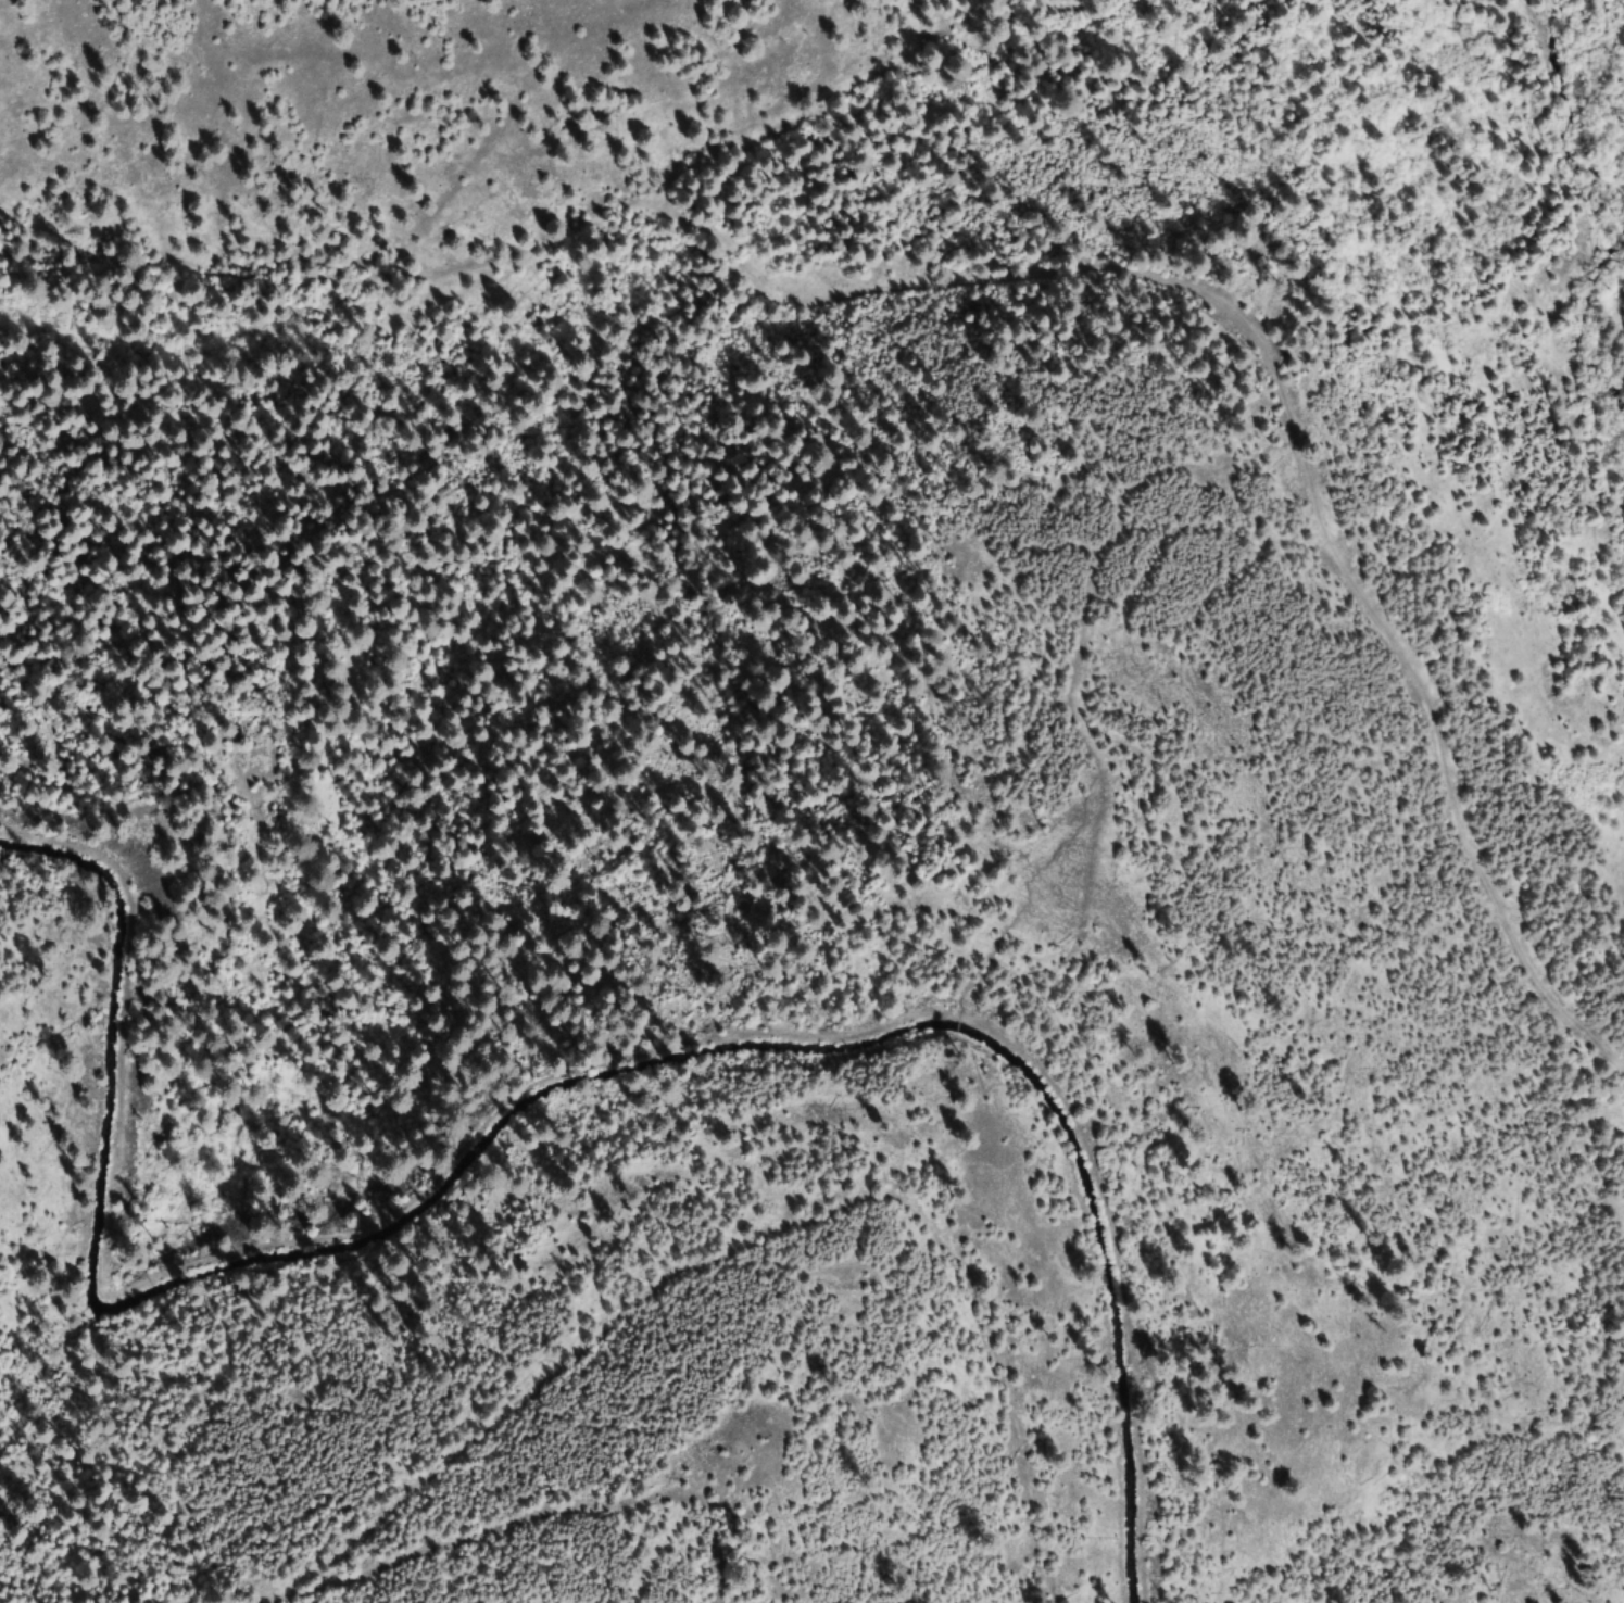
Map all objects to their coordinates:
road: (503, 1136)
road: (570, 1543)

